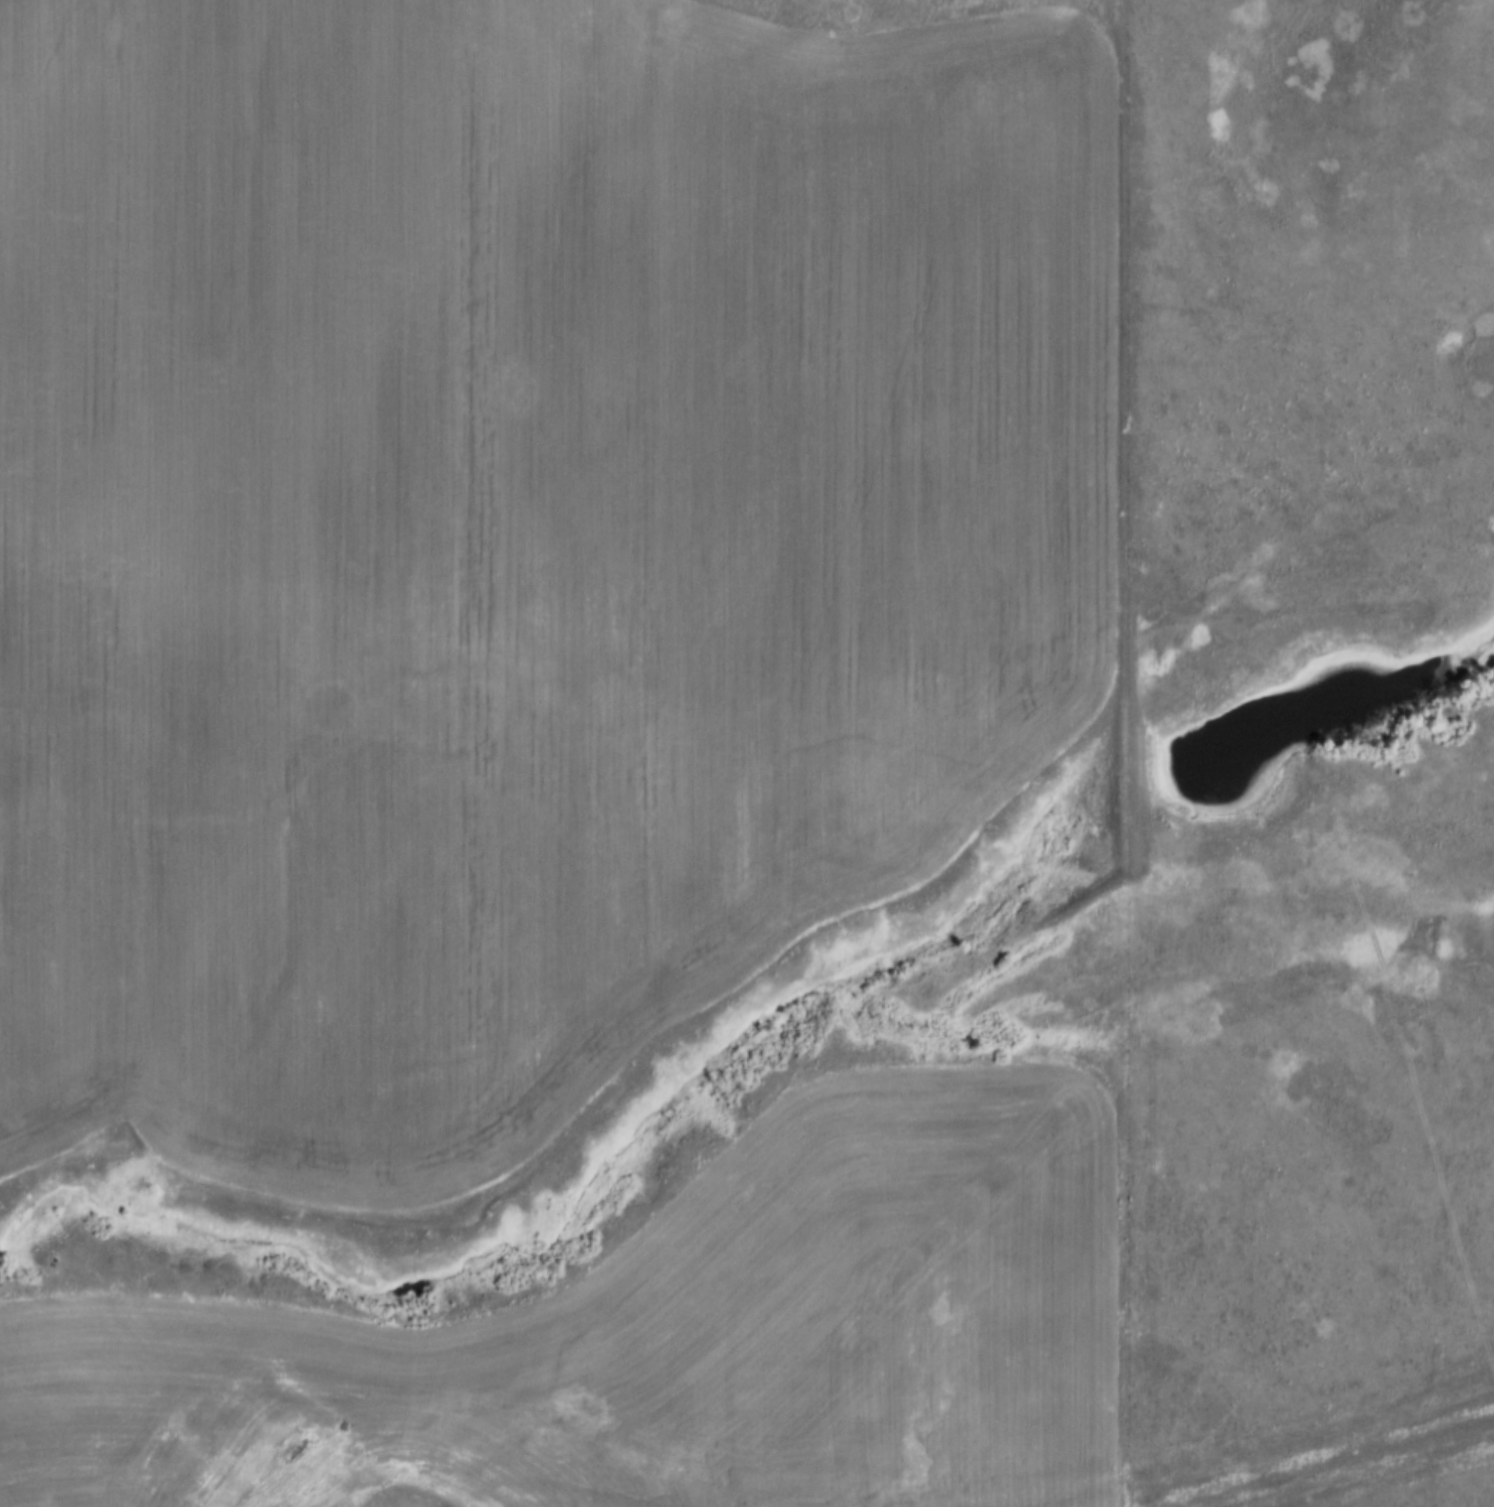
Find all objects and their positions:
road: (358, 1217)

